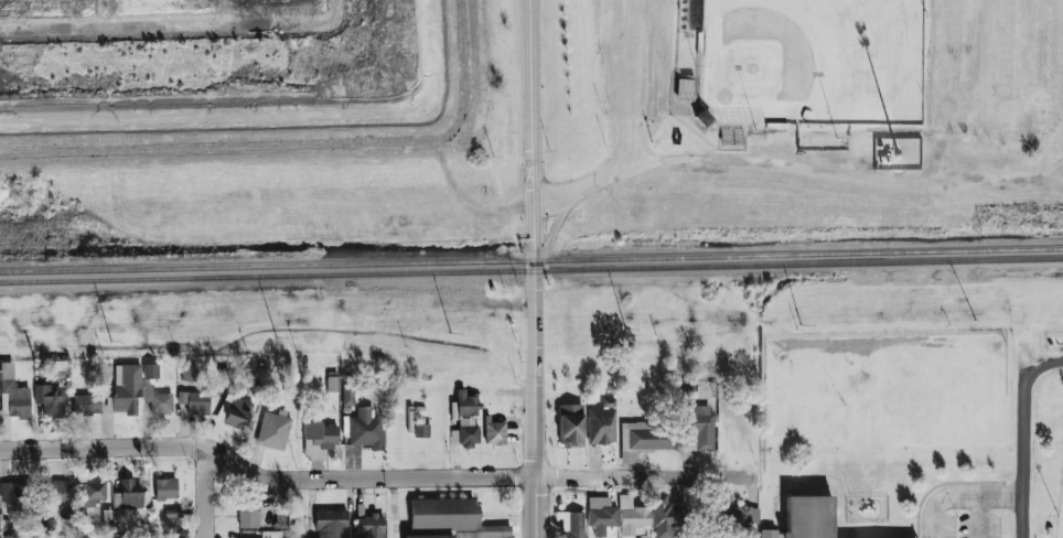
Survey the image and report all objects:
park: (812, 62)
road: (638, 83)
road: (731, 159)
road: (1001, 187)
railway: (531, 261)
road: (533, 269)
railway: (530, 271)
building: (151, 370)
building: (189, 373)
building: (332, 384)
building: (125, 389)
building: (147, 392)
building: (12, 394)
building: (50, 399)
building: (194, 399)
building: (161, 402)
building: (86, 403)
building: (235, 411)
building: (465, 421)
building: (601, 424)
building: (570, 426)
building: (702, 429)
building: (366, 430)
building: (272, 431)
building: (495, 433)
building: (322, 434)
park: (1050, 434)
building: (646, 437)
road: (1021, 437)
road: (371, 478)
building: (165, 488)
building: (61, 491)
building: (88, 491)
building: (14, 494)
road: (203, 495)
road: (958, 496)
building: (130, 498)
building: (601, 515)
building: (632, 516)
building: (664, 516)
building: (737, 516)
building: (807, 516)
building: (248, 517)
road: (978, 517)
park: (1060, 517)
building: (106, 518)
building: (451, 519)
building: (331, 524)
building: (571, 524)
building: (369, 526)
building: (0, 531)
building: (770, 534)

